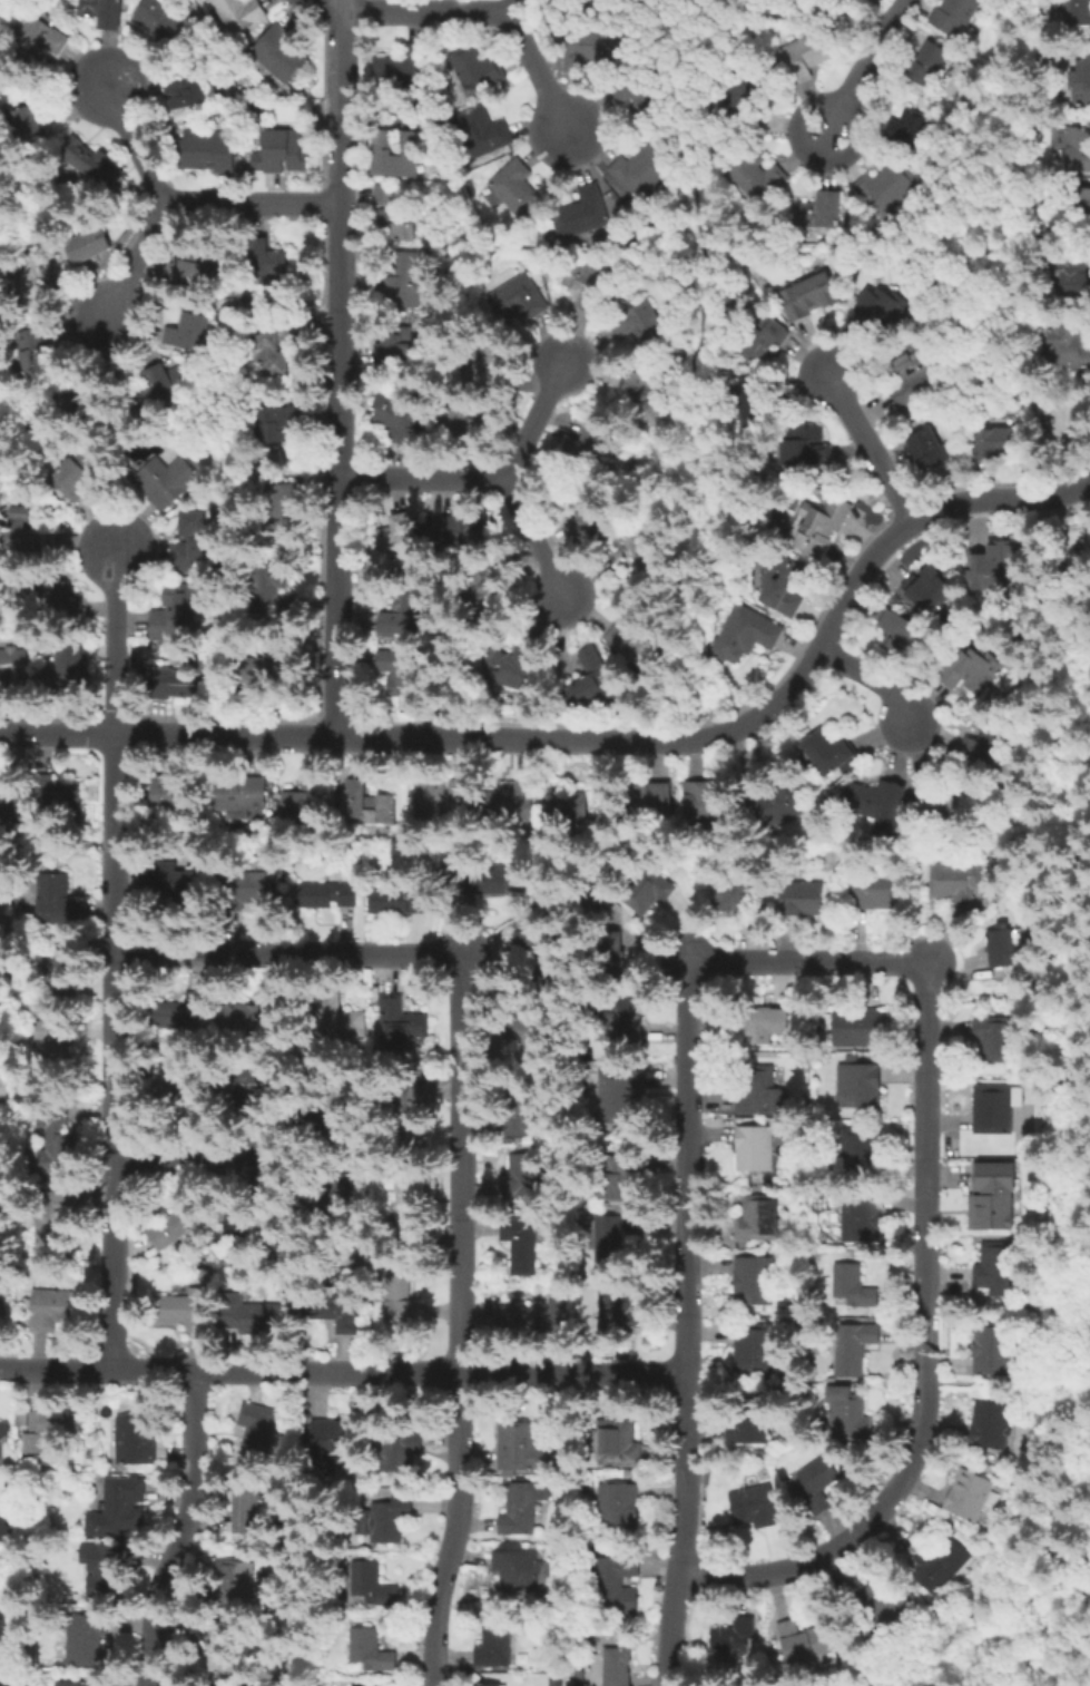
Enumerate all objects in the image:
building: (816, 0)
road: (513, 6)
road: (337, 8)
road: (424, 11)
road: (703, 12)
building: (1079, 12)
building: (105, 13)
building: (240, 14)
building: (956, 17)
building: (163, 20)
building: (41, 43)
building: (591, 50)
building: (278, 55)
building: (806, 56)
building: (402, 67)
building: (930, 67)
road: (865, 68)
building: (477, 69)
road: (538, 72)
building: (1082, 84)
building: (187, 88)
building: (746, 96)
building: (644, 98)
building: (33, 124)
building: (911, 124)
building: (482, 135)
road: (136, 140)
building: (1078, 150)
building: (208, 153)
building: (283, 153)
building: (393, 157)
building: (90, 160)
building: (644, 169)
building: (756, 176)
building: (887, 189)
building: (517, 190)
building: (385, 196)
building: (1081, 200)
road: (251, 202)
building: (821, 212)
building: (585, 216)
building: (397, 224)
building: (89, 245)
building: (265, 259)
road: (132, 263)
building: (185, 263)
building: (27, 274)
building: (1073, 275)
building: (400, 284)
building: (590, 287)
building: (811, 297)
building: (519, 301)
building: (874, 313)
building: (640, 329)
building: (189, 332)
building: (764, 341)
building: (274, 349)
building: (1068, 349)
building: (397, 351)
building: (35, 353)
building: (490, 366)
road: (687, 367)
road: (337, 375)
building: (910, 381)
building: (161, 389)
building: (82, 392)
building: (642, 399)
building: (753, 404)
road: (534, 416)
building: (399, 421)
building: (464, 422)
building: (1067, 425)
building: (276, 427)
building: (590, 441)
building: (993, 444)
building: (804, 449)
road: (870, 449)
building: (927, 450)
building: (79, 469)
road: (420, 477)
building: (164, 481)
road: (695, 484)
road: (1068, 492)
building: (281, 508)
building: (588, 514)
building: (821, 528)
building: (462, 531)
building: (29, 538)
building: (395, 539)
road: (536, 540)
building: (195, 542)
building: (644, 555)
building: (996, 567)
building: (487, 582)
building: (780, 586)
building: (926, 590)
building: (271, 591)
building: (60, 606)
building: (179, 611)
building: (396, 617)
building: (745, 635)
road: (115, 636)
building: (900, 636)
building: (628, 647)
building: (512, 669)
building: (12, 670)
building: (65, 670)
building: (973, 672)
building: (272, 673)
building: (395, 675)
building: (596, 677)
road: (870, 677)
building: (181, 685)
road: (575, 738)
building: (984, 751)
building: (832, 754)
building: (456, 788)
building: (58, 794)
building: (243, 795)
building: (431, 797)
building: (648, 800)
building: (171, 801)
building: (357, 801)
building: (704, 801)
building: (779, 802)
building: (10, 804)
building: (305, 805)
building: (509, 805)
building: (936, 805)
building: (568, 810)
building: (878, 811)
building: (493, 882)
building: (952, 883)
building: (180, 884)
building: (247, 890)
building: (648, 890)
building: (873, 891)
building: (327, 895)
building: (737, 898)
building: (59, 899)
building: (803, 899)
building: (396, 901)
building: (608, 925)
building: (605, 947)
building: (1002, 948)
building: (542, 951)
building: (62, 961)
road: (460, 993)
building: (180, 1012)
building: (244, 1017)
building: (621, 1018)
building: (336, 1022)
building: (397, 1026)
building: (857, 1027)
building: (768, 1028)
building: (528, 1036)
building: (53, 1041)
building: (998, 1041)
road: (115, 1051)
building: (257, 1086)
building: (860, 1088)
building: (183, 1091)
building: (758, 1091)
building: (619, 1098)
building: (993, 1111)
building: (405, 1114)
building: (515, 1114)
building: (753, 1149)
building: (860, 1153)
building: (56, 1156)
road: (197, 1161)
building: (616, 1180)
building: (522, 1182)
building: (992, 1196)
building: (332, 1198)
building: (404, 1210)
building: (861, 1219)
building: (758, 1221)
building: (171, 1227)
building: (619, 1236)
building: (50, 1239)
building: (521, 1242)
road: (926, 1247)
building: (999, 1274)
building: (754, 1281)
building: (852, 1286)
building: (619, 1305)
building: (52, 1311)
building: (402, 1311)
building: (180, 1313)
building: (338, 1313)
building: (531, 1316)
building: (1, 1317)
building: (253, 1317)
road: (685, 1317)
building: (0, 1322)
building: (852, 1349)
building: (756, 1351)
building: (994, 1352)
road: (342, 1369)
building: (848, 1420)
building: (257, 1425)
building: (747, 1425)
building: (990, 1425)
building: (48, 1429)
building: (3, 1434)
building: (337, 1440)
building: (618, 1443)
building: (136, 1444)
building: (519, 1448)
building: (396, 1451)
building: (816, 1484)
building: (969, 1498)
building: (522, 1506)
building: (253, 1507)
building: (120, 1508)
building: (618, 1508)
building: (753, 1511)
building: (387, 1518)
road: (184, 1529)
road: (458, 1529)
building: (10, 1536)
building: (940, 1562)
building: (110, 1575)
building: (521, 1575)
building: (238, 1585)
building: (375, 1585)
building: (611, 1589)
building: (883, 1602)
building: (85, 1639)
building: (731, 1639)
building: (804, 1640)
building: (495, 1648)
building: (372, 1653)
building: (226, 1654)
building: (621, 1667)
building: (77, 1684)
building: (484, 1684)

